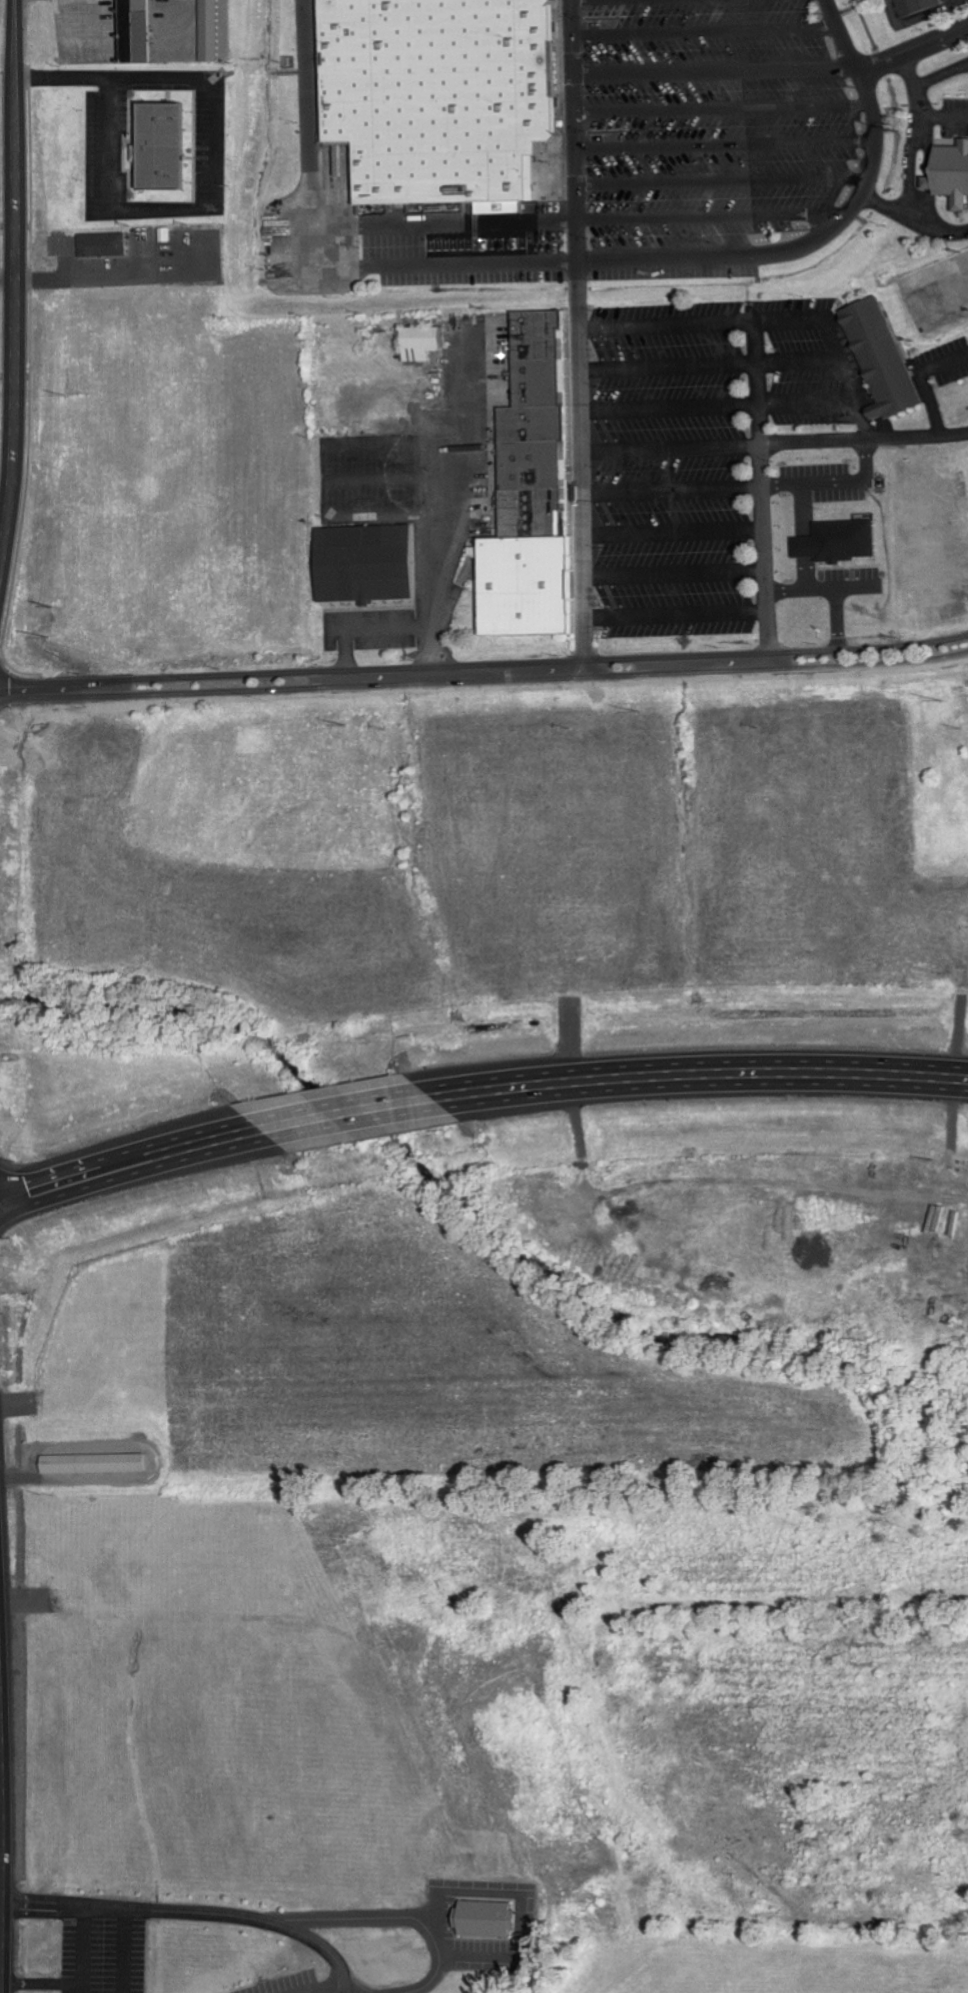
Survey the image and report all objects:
building: (916, 6)
building: (142, 26)
road: (706, 29)
road: (916, 48)
road: (718, 68)
road: (913, 68)
road: (14, 74)
road: (941, 74)
road: (306, 84)
building: (442, 95)
road: (723, 106)
road: (944, 117)
road: (726, 142)
building: (168, 147)
building: (950, 169)
road: (722, 181)
road: (911, 182)
road: (883, 206)
road: (709, 217)
road: (466, 222)
road: (828, 229)
road: (311, 235)
road: (336, 241)
building: (109, 243)
road: (467, 263)
road: (790, 323)
road: (667, 327)
building: (534, 334)
road: (579, 337)
building: (418, 342)
road: (13, 359)
road: (799, 363)
road: (669, 367)
road: (847, 380)
building: (535, 382)
road: (808, 403)
road: (670, 408)
building: (528, 423)
road: (865, 439)
road: (671, 447)
building: (529, 465)
road: (836, 482)
road: (765, 488)
road: (673, 490)
building: (530, 500)
building: (530, 524)
road: (807, 537)
building: (836, 541)
building: (362, 562)
building: (524, 585)
road: (826, 589)
road: (838, 619)
road: (484, 663)
road: (484, 679)
road: (703, 1072)
road: (352, 1113)
road: (131, 1166)
building: (491, 1921)

